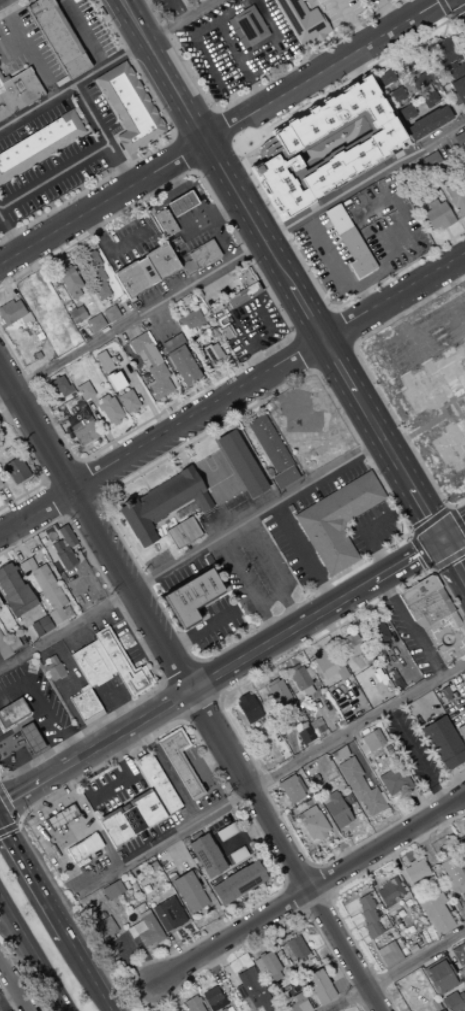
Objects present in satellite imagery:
road: (463, 3)
road: (13, 6)
parking lot: (170, 7)
road: (443, 7)
road: (456, 11)
road: (387, 14)
road: (448, 18)
road: (180, 20)
building: (302, 20)
road: (352, 23)
building: (250, 25)
road: (82, 33)
building: (58, 36)
road: (408, 42)
road: (28, 49)
building: (445, 50)
building: (409, 63)
building: (457, 71)
road: (223, 77)
building: (386, 77)
building: (419, 80)
road: (73, 85)
road: (256, 86)
building: (458, 90)
road: (250, 91)
building: (18, 92)
building: (396, 94)
building: (430, 98)
building: (130, 107)
building: (406, 111)
building: (428, 122)
road: (193, 123)
road: (223, 132)
road: (102, 135)
building: (459, 140)
building: (39, 143)
building: (327, 145)
road: (154, 149)
road: (180, 155)
road: (53, 175)
building: (456, 196)
building: (181, 203)
building: (438, 214)
gas station: (183, 215)
building: (337, 219)
building: (164, 222)
road: (10, 235)
road: (108, 250)
building: (204, 253)
building: (356, 253)
road: (401, 260)
road: (233, 262)
road: (326, 264)
building: (145, 271)
road: (279, 271)
building: (94, 273)
building: (233, 279)
building: (70, 282)
road: (362, 291)
building: (243, 294)
building: (36, 299)
building: (209, 300)
road: (332, 307)
building: (11, 311)
road: (433, 312)
building: (110, 313)
building: (76, 314)
road: (452, 316)
building: (25, 318)
road: (434, 319)
road: (311, 320)
building: (190, 321)
building: (95, 323)
road: (454, 323)
road: (286, 324)
road: (343, 326)
road: (433, 327)
road: (400, 329)
road: (455, 330)
building: (226, 332)
road: (437, 333)
road: (418, 337)
road: (440, 339)
road: (421, 342)
building: (173, 343)
road: (424, 349)
building: (213, 353)
road: (299, 354)
road: (331, 355)
building: (103, 361)
building: (183, 365)
building: (151, 366)
road: (369, 378)
building: (115, 381)
building: (58, 386)
building: (84, 391)
road: (232, 396)
building: (128, 402)
building: (109, 409)
building: (66, 410)
road: (217, 421)
building: (84, 433)
road: (251, 435)
building: (269, 444)
road: (77, 461)
road: (35, 463)
building: (241, 463)
building: (16, 470)
road: (60, 472)
road: (138, 473)
building: (284, 477)
road: (42, 481)
road: (88, 481)
building: (0, 484)
building: (0, 487)
road: (54, 499)
building: (162, 503)
road: (81, 507)
road: (448, 508)
road: (255, 515)
building: (337, 520)
road: (428, 522)
road: (456, 524)
road: (370, 528)
road: (408, 532)
building: (182, 533)
road: (407, 533)
building: (66, 536)
traffic signals: (440, 541)
road: (421, 551)
building: (63, 554)
road: (302, 555)
road: (448, 560)
road: (452, 562)
road: (432, 571)
road: (271, 573)
building: (45, 588)
road: (247, 588)
building: (14, 590)
building: (192, 595)
road: (359, 602)
building: (0, 604)
building: (434, 617)
building: (372, 622)
building: (40, 626)
road: (410, 626)
road: (64, 629)
road: (200, 630)
road: (308, 632)
building: (379, 633)
road: (335, 640)
road: (371, 642)
building: (352, 644)
road: (316, 645)
road: (281, 648)
building: (4, 649)
road: (141, 649)
road: (197, 661)
road: (257, 662)
building: (91, 664)
building: (122, 664)
building: (329, 664)
road: (408, 664)
road: (232, 665)
building: (53, 668)
road: (178, 673)
road: (230, 678)
building: (300, 678)
road: (206, 681)
building: (271, 681)
road: (264, 682)
road: (189, 691)
road: (238, 691)
building: (307, 691)
building: (278, 692)
road: (171, 700)
road: (218, 700)
road: (360, 702)
building: (85, 705)
road: (199, 708)
building: (248, 708)
road: (40, 710)
building: (12, 712)
gas station: (29, 715)
road: (182, 719)
building: (316, 724)
road: (327, 724)
road: (231, 726)
building: (461, 732)
building: (305, 733)
building: (30, 738)
building: (372, 740)
road: (275, 741)
building: (444, 742)
building: (362, 748)
road: (293, 749)
building: (339, 753)
road: (354, 754)
road: (22, 758)
road: (415, 758)
building: (340, 760)
building: (179, 761)
road: (209, 762)
road: (167, 771)
road: (127, 777)
road: (269, 777)
road: (437, 778)
building: (394, 780)
road: (448, 780)
building: (156, 784)
building: (360, 787)
building: (290, 789)
road: (235, 798)
road: (123, 801)
road: (31, 802)
road: (392, 804)
road: (419, 804)
road: (6, 808)
building: (335, 809)
building: (306, 813)
building: (64, 816)
road: (384, 819)
road: (16, 820)
building: (131, 820)
road: (7, 823)
building: (315, 826)
road: (445, 827)
road: (457, 827)
road: (70, 832)
building: (227, 832)
road: (43, 834)
road: (242, 836)
gas station: (71, 838)
road: (212, 841)
building: (462, 843)
road: (422, 845)
building: (84, 848)
road: (342, 848)
road: (330, 852)
building: (90, 855)
building: (237, 855)
building: (207, 856)
building: (444, 858)
building: (81, 862)
building: (164, 863)
road: (396, 864)
road: (233, 865)
road: (311, 869)
building: (415, 871)
road: (368, 874)
building: (453, 876)
road: (300, 879)
road: (31, 882)
building: (238, 883)
road: (318, 883)
building: (428, 884)
building: (125, 885)
road: (286, 885)
road: (339, 885)
road: (307, 888)
building: (112, 890)
building: (390, 891)
building: (189, 892)
road: (259, 894)
road: (328, 895)
road: (296, 896)
road: (207, 898)
road: (314, 901)
building: (463, 904)
road: (237, 908)
road: (355, 910)
road: (302, 911)
building: (435, 912)
building: (168, 914)
building: (90, 915)
building: (103, 915)
building: (368, 916)
road: (342, 918)
road: (382, 922)
road: (360, 923)
road: (286, 929)
road: (349, 929)
building: (105, 930)
building: (149, 931)
road: (263, 931)
road: (365, 935)
road: (356, 941)
road: (245, 945)
road: (177, 946)
building: (295, 947)
road: (319, 947)
building: (260, 955)
building: (389, 955)
road: (449, 955)
building: (459, 955)
road: (30, 959)
building: (305, 961)
road: (131, 963)
road: (212, 965)
building: (266, 965)
building: (241, 970)
road: (331, 971)
road: (397, 971)
road: (85, 974)
building: (464, 976)
building: (440, 977)
road: (202, 980)
building: (248, 981)
building: (319, 986)
road: (13, 987)
building: (240, 992)
road: (172, 993)
building: (211, 996)
road: (8, 998)
road: (7, 999)
building: (261, 1000)
building: (454, 1002)
building: (297, 1003)
building: (193, 1004)
building: (218, 1004)
road: (162, 1006)
building: (222, 1010)

